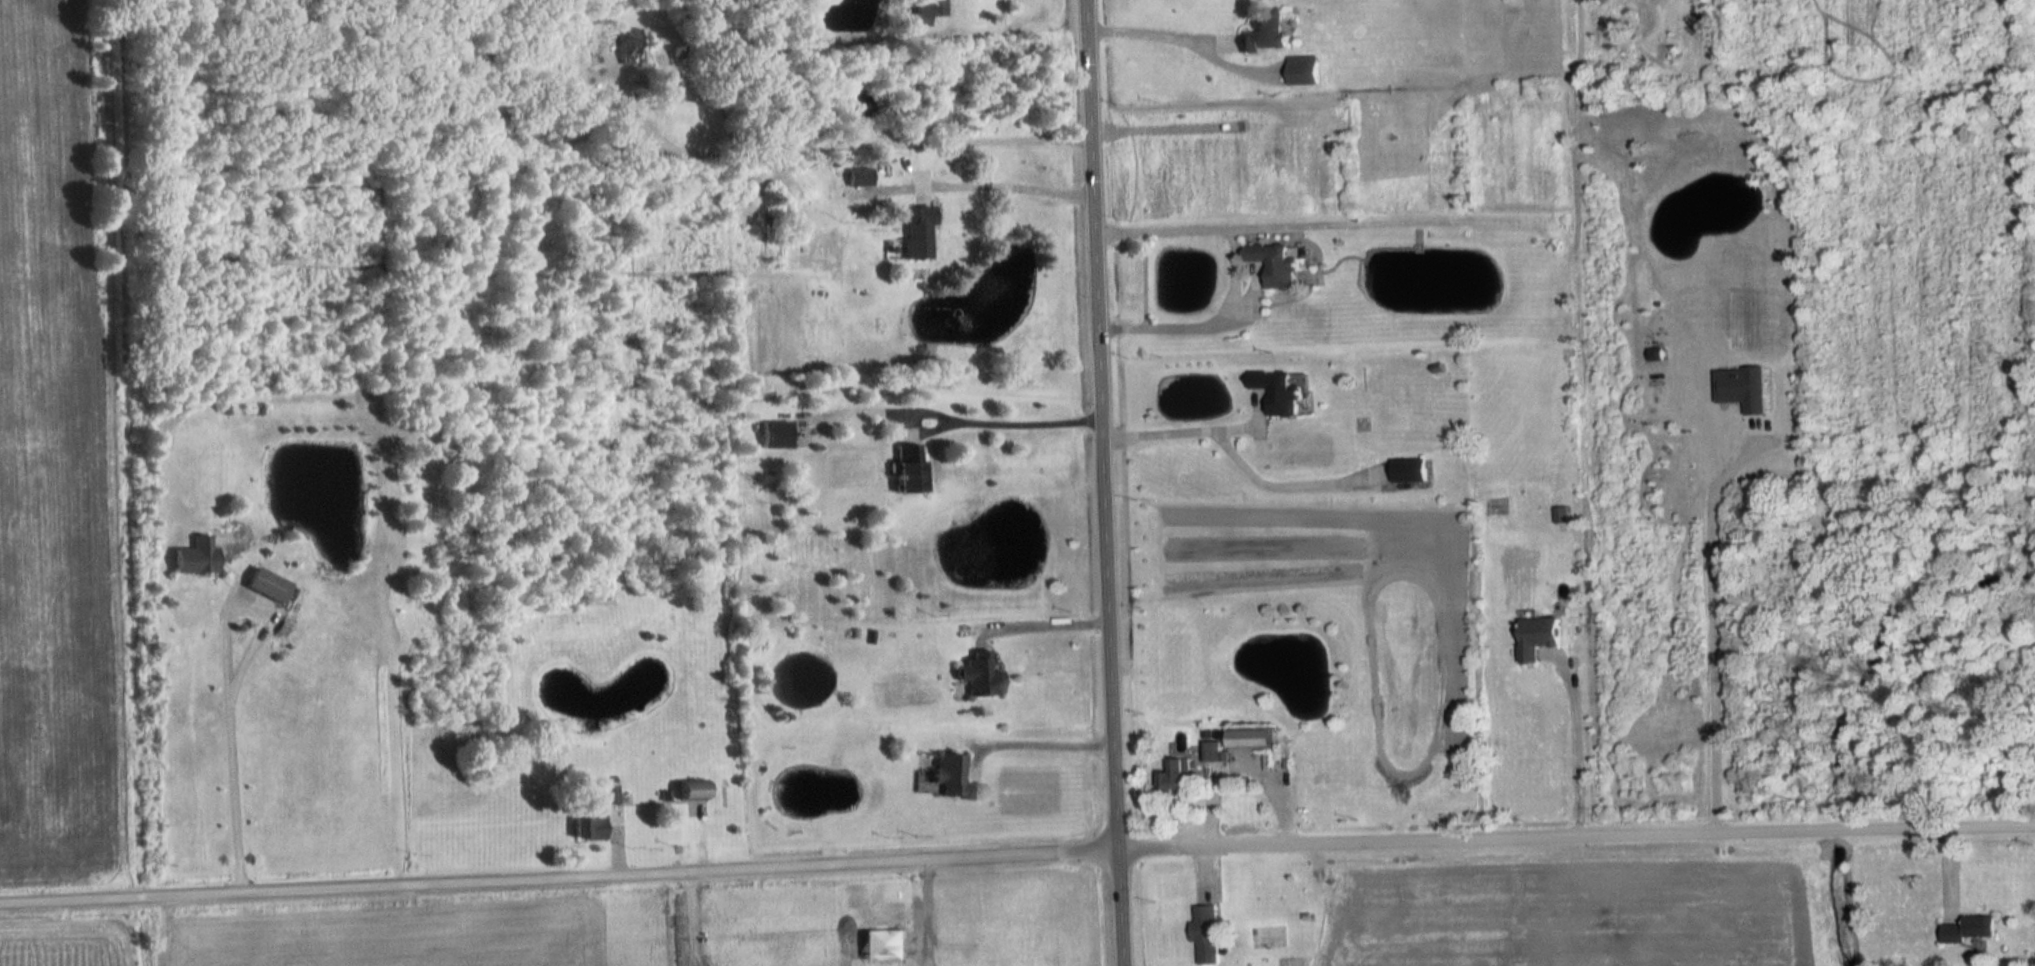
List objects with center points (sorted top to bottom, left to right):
building: (926, 11)
building: (1265, 31)
road: (1155, 36)
building: (628, 46)
road: (836, 149)
building: (858, 178)
road: (1006, 186)
building: (916, 236)
building: (1276, 263)
road: (1233, 272)
building: (1277, 392)
road: (1008, 420)
building: (774, 435)
road: (1231, 452)
building: (908, 468)
building: (1409, 473)
road: (1101, 483)
building: (192, 558)
building: (264, 586)
road: (1721, 625)
building: (1537, 638)
building: (976, 676)
road: (224, 691)
road: (1050, 739)
building: (1250, 739)
building: (1211, 752)
road: (1576, 753)
road: (1237, 761)
building: (1177, 777)
building: (950, 779)
building: (690, 791)
building: (588, 827)
road: (1017, 854)
road: (923, 914)
road: (666, 920)
building: (1967, 929)
building: (1205, 933)
road: (968, 960)

